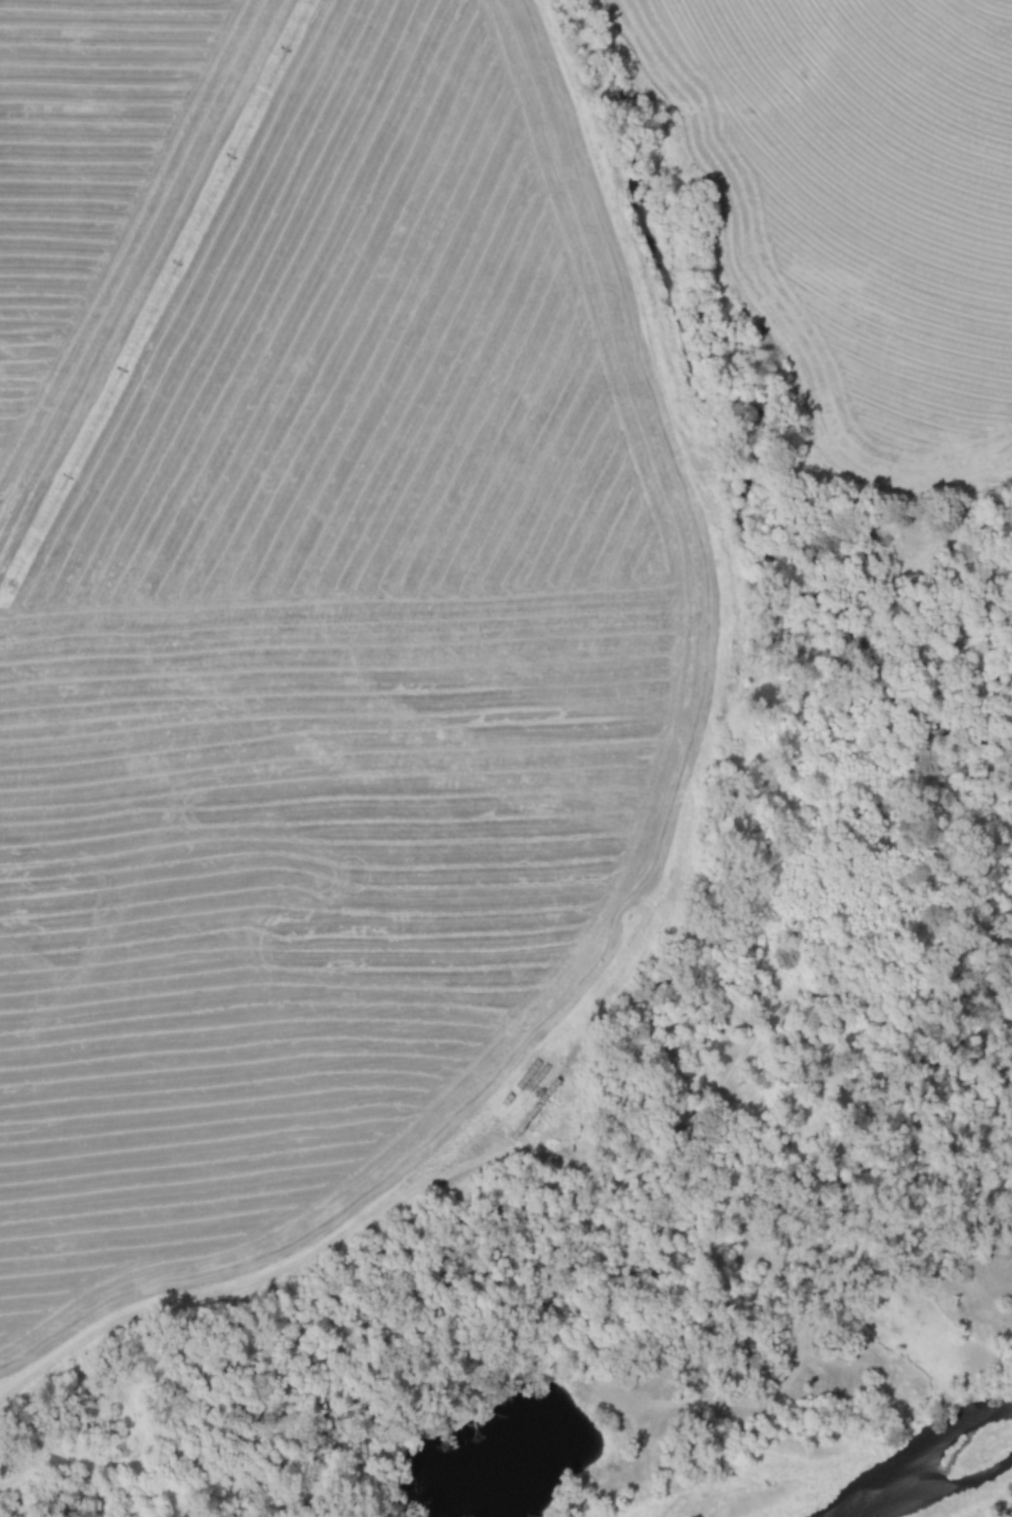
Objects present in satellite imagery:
river: (926, 1467)

